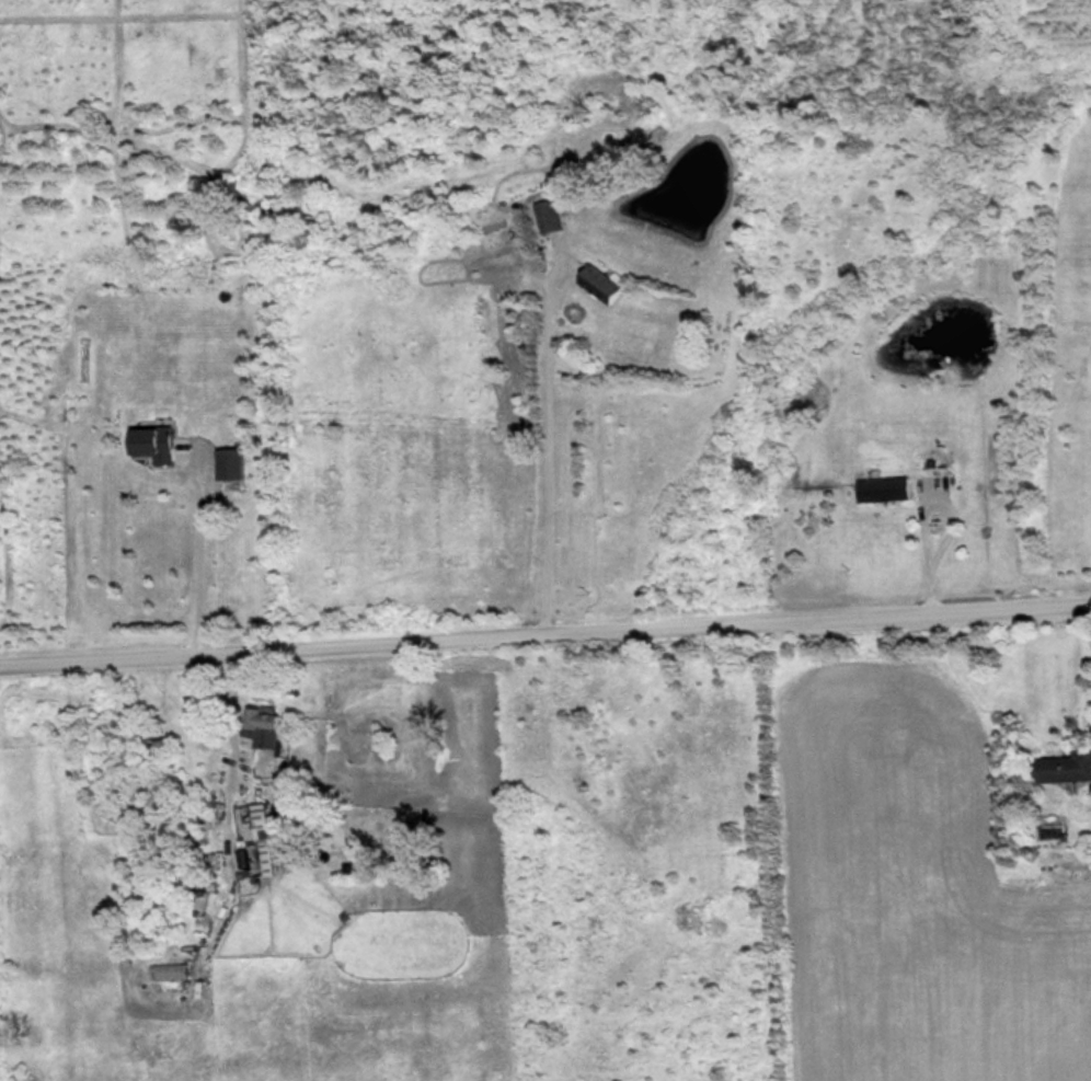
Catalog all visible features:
building: (554, 216)
building: (607, 284)
road: (552, 440)
building: (162, 442)
building: (236, 462)
building: (891, 488)
road: (930, 544)
road: (204, 545)
road: (545, 626)
building: (274, 717)
road: (228, 766)
building: (1067, 767)
building: (253, 817)

